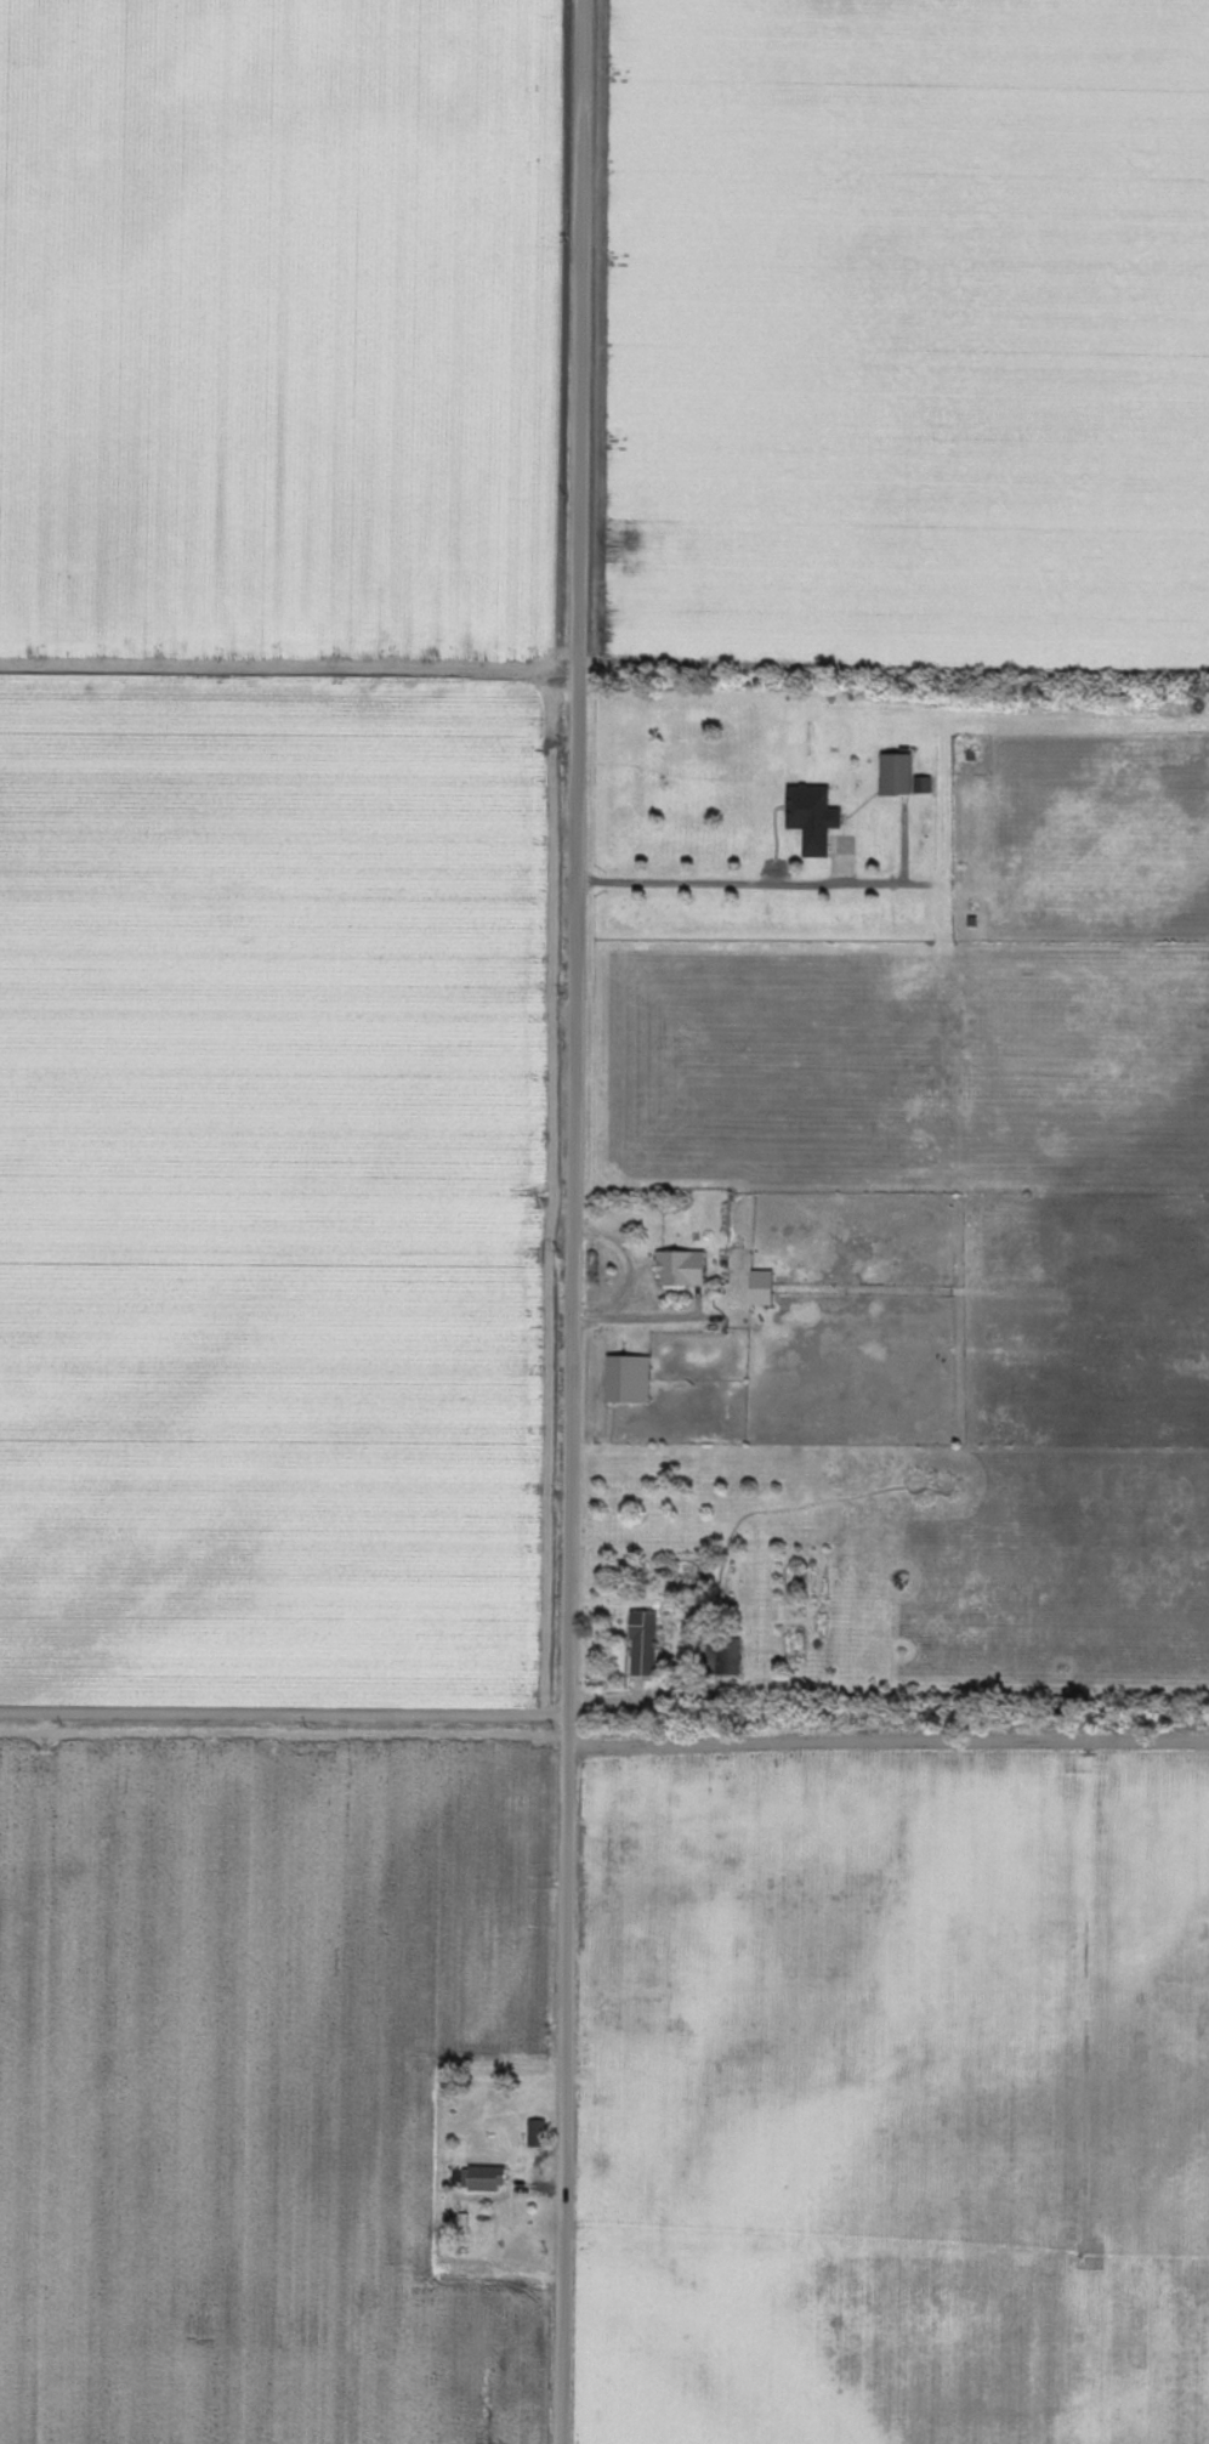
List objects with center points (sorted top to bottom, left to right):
building: (895, 772)
building: (810, 816)
road: (784, 883)
road: (575, 1221)
building: (679, 1268)
building: (759, 1287)
building: (626, 1379)
building: (642, 1640)
road: (630, 1702)
road: (285, 1716)
road: (890, 1746)
road: (886, 1986)
building: (482, 2178)

